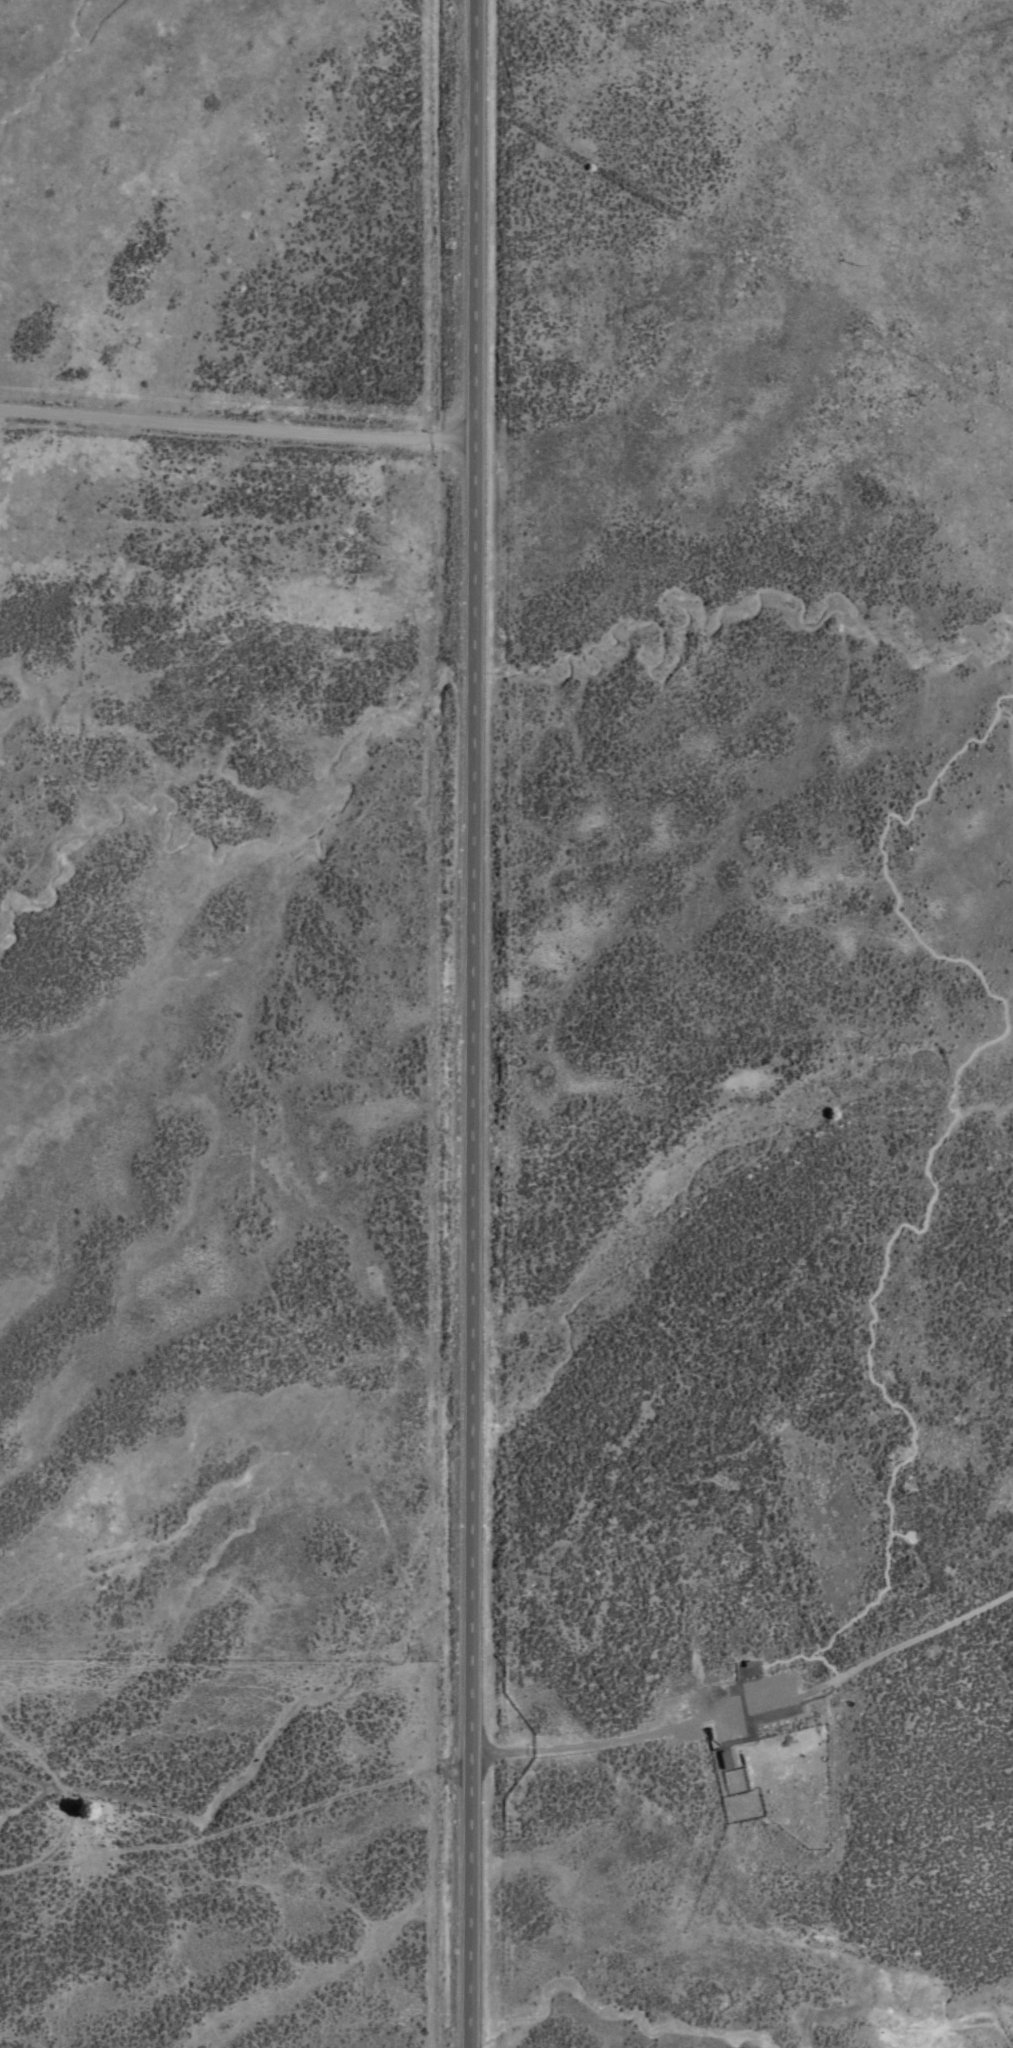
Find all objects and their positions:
road: (242, 426)
road: (470, 1024)
crop: (506, 1024)
parking lot: (684, 1704)
road: (741, 1711)
road: (236, 1826)

